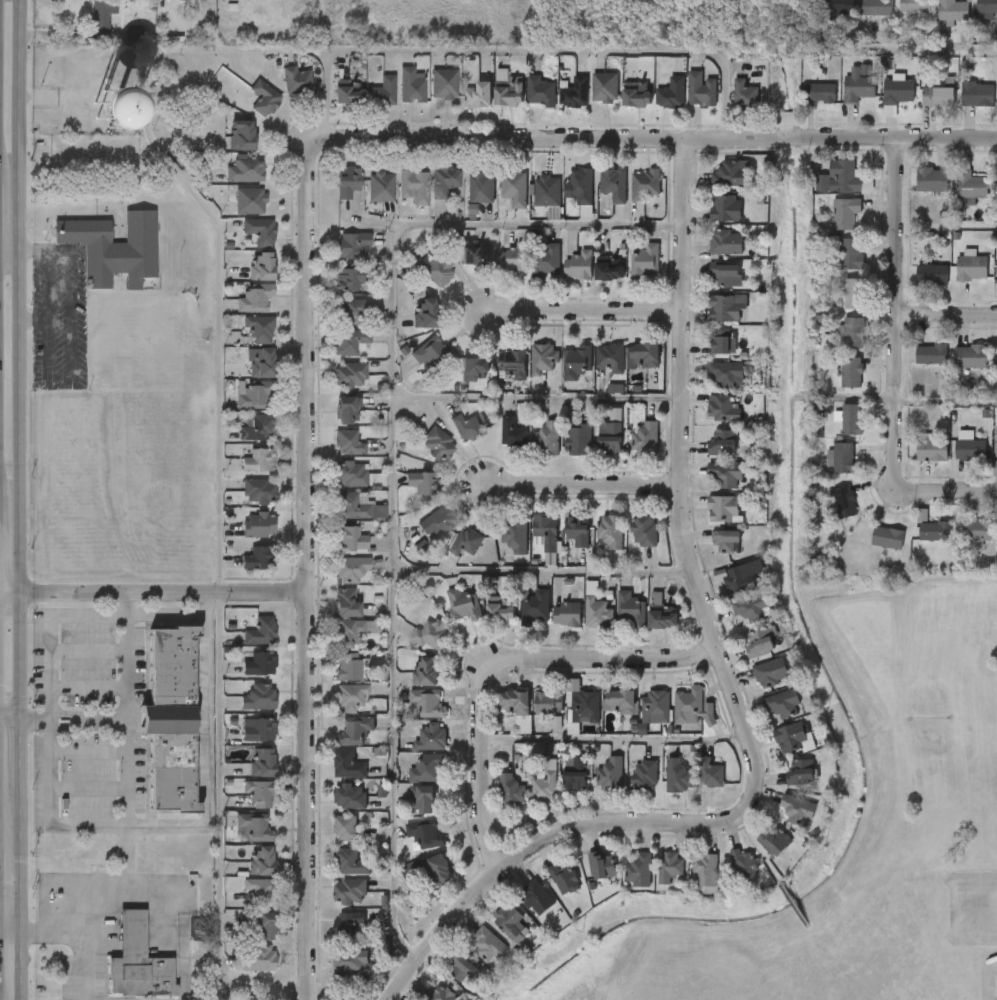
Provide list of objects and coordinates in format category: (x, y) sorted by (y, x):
building: (914, 6)
building: (838, 7)
building: (875, 7)
building: (987, 8)
building: (952, 10)
building: (898, 16)
building: (823, 17)
building: (859, 18)
building: (974, 18)
building: (933, 20)
building: (117, 47)
road: (193, 50)
building: (296, 81)
building: (859, 83)
building: (443, 84)
building: (411, 85)
building: (605, 87)
building: (701, 89)
building: (507, 90)
building: (898, 90)
building: (540, 91)
building: (382, 92)
building: (821, 92)
building: (280, 93)
road: (327, 93)
building: (348, 93)
building: (575, 93)
building: (672, 93)
building: (977, 93)
building: (478, 95)
building: (745, 95)
building: (427, 96)
building: (638, 97)
building: (841, 97)
building: (938, 97)
building: (263, 98)
building: (394, 98)
building: (588, 100)
building: (491, 102)
building: (684, 102)
building: (880, 103)
building: (331, 104)
building: (523, 104)
building: (365, 105)
building: (558, 106)
building: (803, 106)
building: (619, 107)
building: (654, 107)
building: (961, 107)
building: (728, 108)
building: (990, 108)
building: (461, 109)
building: (921, 110)
building: (247, 111)
water tower: (105, 116)
building: (98, 119)
building: (241, 135)
road: (650, 140)
building: (225, 147)
building: (245, 170)
building: (728, 175)
building: (845, 176)
building: (932, 179)
building: (444, 181)
building: (347, 182)
building: (228, 183)
building: (613, 184)
building: (645, 185)
building: (971, 185)
building: (380, 186)
building: (413, 186)
building: (580, 186)
building: (712, 187)
building: (479, 188)
building: (513, 188)
building: (823, 190)
building: (546, 192)
building: (915, 193)
building: (331, 194)
building: (427, 194)
building: (597, 197)
building: (628, 197)
building: (989, 197)
building: (397, 199)
building: (364, 200)
building: (249, 201)
building: (463, 201)
building: (954, 201)
building: (497, 202)
building: (529, 204)
building: (726, 209)
building: (846, 212)
building: (233, 213)
building: (709, 221)
road: (6, 225)
building: (828, 226)
building: (259, 231)
building: (725, 243)
building: (243, 244)
building: (350, 244)
building: (852, 254)
building: (475, 255)
building: (709, 255)
building: (335, 259)
building: (514, 259)
building: (546, 259)
building: (97, 260)
building: (645, 261)
building: (458, 265)
building: (579, 265)
building: (262, 266)
building: (833, 266)
building: (974, 266)
building: (435, 270)
building: (610, 270)
building: (497, 271)
building: (529, 272)
building: (933, 274)
building: (628, 275)
building: (725, 275)
building: (349, 278)
building: (245, 279)
building: (562, 279)
building: (954, 279)
building: (418, 281)
building: (592, 281)
building: (990, 285)
building: (709, 287)
building: (915, 287)
building: (332, 291)
building: (854, 293)
building: (254, 298)
building: (836, 306)
building: (725, 308)
road: (897, 308)
building: (238, 310)
building: (350, 312)
road: (584, 312)
building: (425, 313)
road: (947, 315)
building: (709, 320)
building: (335, 324)
building: (407, 326)
building: (258, 328)
building: (854, 332)
building: (243, 341)
building: (349, 342)
building: (835, 345)
building: (720, 346)
building: (433, 353)
building: (334, 354)
building: (932, 354)
building: (704, 355)
building: (645, 356)
building: (971, 356)
road: (20, 357)
building: (545, 359)
building: (609, 359)
building: (577, 362)
building: (262, 363)
building: (415, 365)
building: (514, 366)
building: (914, 367)
building: (627, 368)
building: (476, 369)
building: (593, 370)
building: (953, 370)
building: (988, 370)
building: (525, 371)
building: (853, 371)
building: (560, 374)
building: (727, 374)
building: (245, 375)
building: (349, 376)
building: (496, 376)
building: (457, 381)
building: (834, 385)
building: (710, 386)
building: (333, 387)
building: (253, 398)
road: (537, 399)
road: (947, 402)
building: (236, 407)
building: (719, 408)
building: (347, 411)
building: (852, 419)
building: (331, 421)
building: (705, 421)
building: (466, 427)
building: (256, 428)
building: (512, 432)
building: (833, 432)
building: (609, 439)
building: (645, 439)
building: (450, 440)
building: (546, 440)
building: (579, 440)
building: (239, 441)
building: (723, 442)
building: (347, 443)
building: (437, 443)
building: (495, 445)
building: (932, 449)
building: (971, 449)
building: (593, 451)
building: (996, 451)
building: (530, 452)
building: (562, 452)
building: (628, 452)
building: (332, 454)
road: (392, 455)
building: (706, 455)
building: (421, 457)
building: (844, 457)
building: (952, 459)
building: (258, 460)
building: (915, 463)
building: (989, 464)
building: (823, 471)
building: (242, 473)
building: (348, 474)
building: (726, 475)
building: (422, 483)
building: (333, 486)
road: (583, 486)
building: (709, 486)
road: (945, 490)
building: (258, 491)
building: (403, 495)
building: (844, 502)
building: (243, 504)
building: (349, 506)
building: (724, 509)
building: (827, 514)
building: (341, 520)
building: (439, 521)
building: (706, 521)
building: (258, 525)
building: (905, 527)
building: (545, 528)
building: (980, 530)
building: (610, 531)
building: (645, 531)
building: (935, 531)
building: (578, 532)
building: (421, 534)
building: (243, 537)
building: (515, 537)
building: (889, 537)
building: (348, 538)
building: (465, 542)
building: (727, 542)
building: (961, 542)
building: (561, 543)
building: (627, 543)
building: (594, 544)
building: (918, 544)
building: (991, 545)
building: (498, 548)
building: (870, 550)
building: (333, 551)
building: (710, 554)
building: (449, 555)
building: (257, 558)
building: (349, 568)
building: (241, 570)
road: (542, 571)
road: (309, 573)
building: (743, 576)
building: (334, 581)
building: (725, 589)
road: (155, 593)
building: (346, 602)
building: (463, 605)
building: (535, 607)
building: (630, 609)
building: (750, 610)
building: (502, 611)
building: (597, 611)
road: (179, 614)
building: (567, 614)
building: (329, 615)
building: (663, 617)
building: (447, 618)
building: (518, 620)
building: (579, 621)
building: (734, 621)
building: (482, 622)
building: (613, 623)
building: (644, 625)
building: (550, 627)
road: (50, 629)
building: (259, 631)
building: (348, 633)
building: (430, 633)
building: (762, 642)
building: (243, 644)
building: (331, 644)
building: (414, 647)
building: (743, 656)
road: (499, 661)
building: (259, 663)
building: (348, 669)
building: (424, 672)
building: (771, 673)
building: (243, 676)
building: (331, 679)
building: (408, 685)
building: (754, 685)
road: (731, 693)
building: (349, 696)
building: (258, 697)
building: (619, 702)
building: (427, 703)
building: (515, 703)
building: (781, 703)
road: (130, 705)
building: (547, 705)
building: (586, 707)
building: (655, 707)
building: (689, 707)
building: (334, 709)
building: (242, 710)
road: (11, 715)
building: (411, 715)
building: (532, 715)
building: (566, 715)
building: (604, 715)
building: (765, 716)
building: (501, 717)
building: (170, 719)
building: (676, 720)
building: (637, 721)
building: (258, 730)
building: (353, 731)
building: (430, 737)
building: (794, 738)
road: (613, 740)
building: (241, 742)
building: (338, 742)
building: (415, 750)
building: (777, 751)
road: (208, 755)
road: (21, 757)
building: (262, 763)
building: (347, 765)
building: (426, 768)
building: (801, 772)
building: (245, 774)
building: (576, 774)
building: (609, 774)
building: (711, 774)
building: (644, 775)
building: (678, 776)
building: (331, 777)
building: (411, 781)
building: (544, 782)
building: (784, 785)
building: (558, 786)
building: (693, 786)
building: (594, 787)
building: (628, 788)
building: (661, 789)
building: (510, 792)
building: (258, 793)
building: (528, 795)
building: (349, 796)
building: (422, 800)
building: (494, 805)
building: (242, 806)
building: (332, 809)
building: (406, 811)
building: (796, 811)
building: (781, 822)
road: (94, 824)
building: (253, 826)
building: (345, 828)
road: (222, 832)
building: (424, 835)
building: (236, 840)
building: (775, 840)
building: (331, 841)
building: (408, 847)
building: (758, 854)
building: (260, 861)
building: (350, 862)
road: (21, 864)
building: (743, 865)
building: (601, 866)
building: (670, 866)
building: (429, 870)
building: (705, 870)
building: (639, 871)
building: (244, 874)
building: (334, 875)
building: (727, 877)
building: (584, 878)
building: (564, 879)
building: (653, 879)
building: (688, 881)
building: (413, 882)
building: (622, 883)
road: (90, 891)
building: (259, 891)
building: (548, 891)
building: (349, 892)
building: (536, 898)
building: (241, 899)
building: (333, 903)
building: (519, 910)
building: (510, 921)
building: (347, 923)
building: (266, 927)
road: (10, 929)
building: (494, 935)
building: (331, 936)
building: (246, 938)
park: (728, 947)
road: (20, 956)
building: (471, 957)
building: (257, 958)
building: (350, 960)
building: (138, 961)
road: (89, 965)
park: (733, 965)
building: (241, 970)
building: (334, 974)
building: (447, 982)
road: (20, 991)
building: (443, 994)
building: (424, 998)
building: (255, 999)

